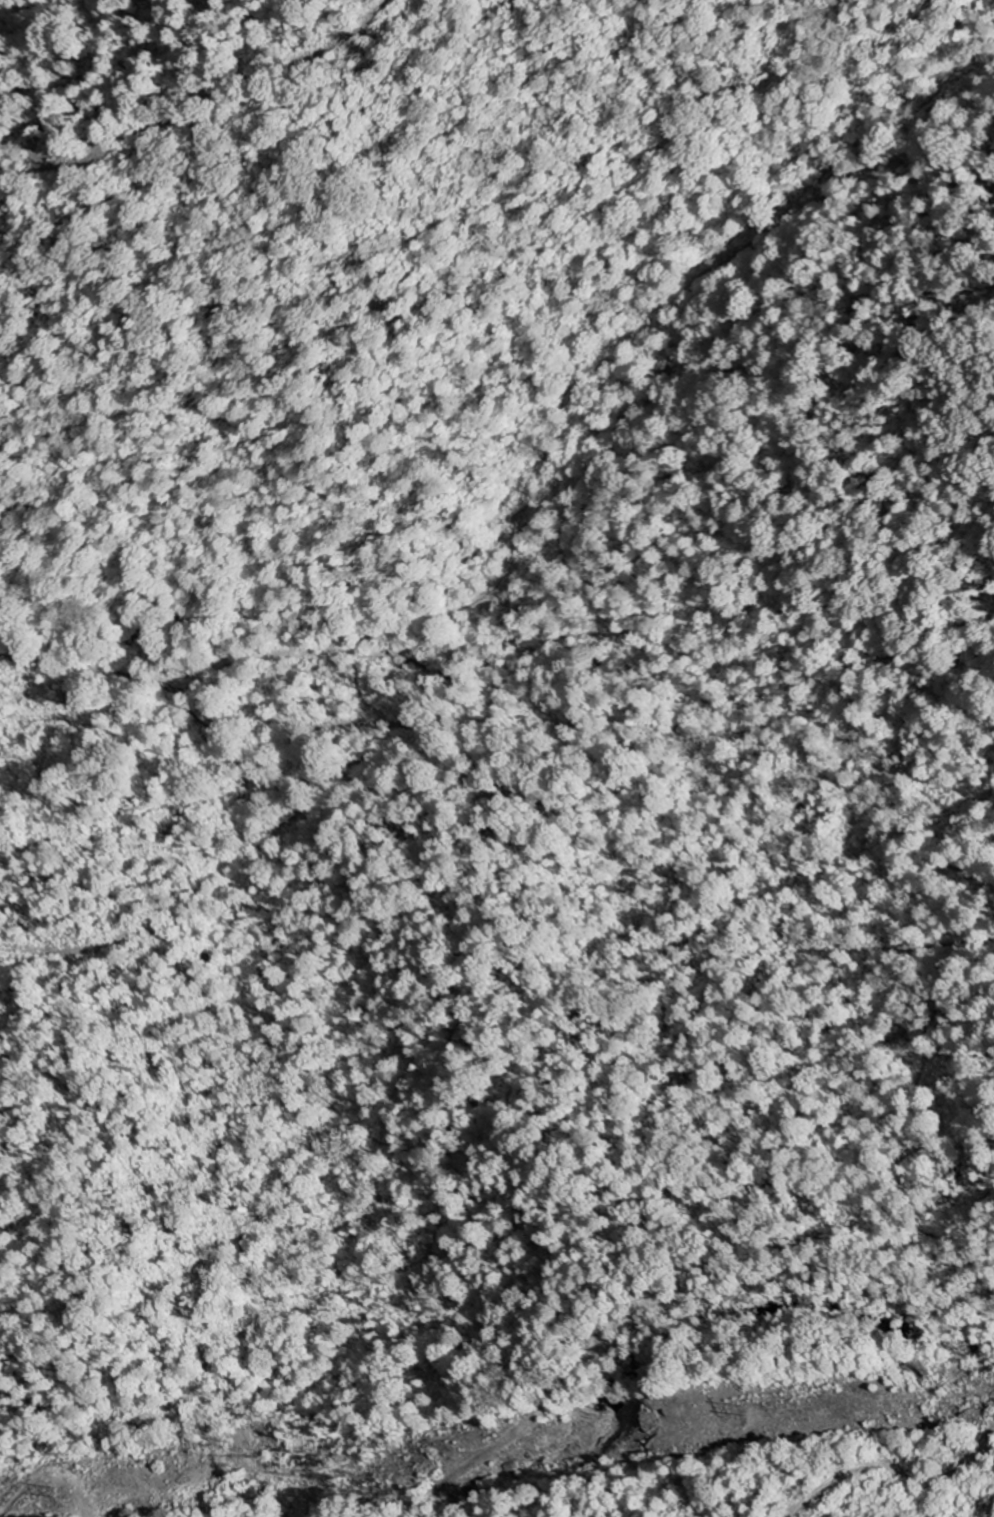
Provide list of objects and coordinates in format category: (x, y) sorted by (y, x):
power tower: (904, 1383)

